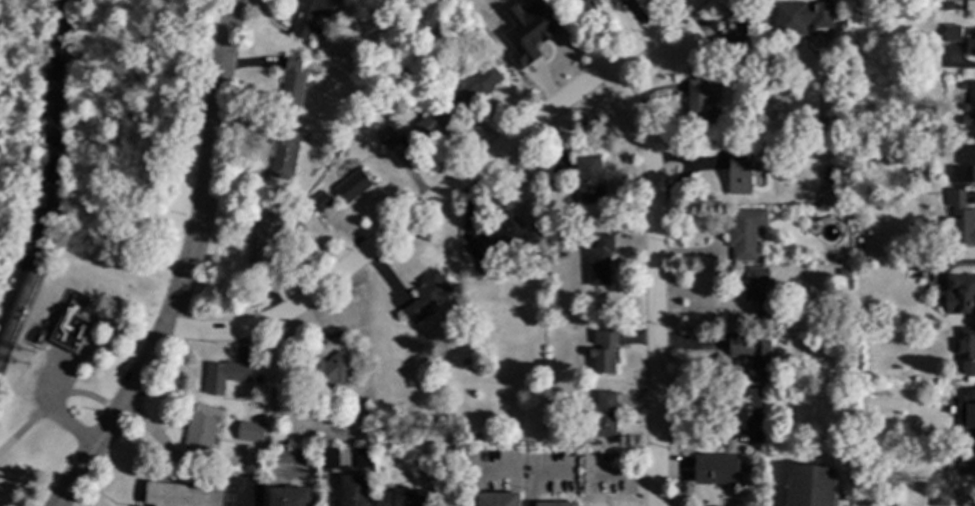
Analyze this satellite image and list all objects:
building: (452, 0)
building: (968, 0)
building: (583, 5)
building: (308, 18)
building: (801, 18)
building: (950, 33)
building: (735, 36)
building: (533, 40)
building: (970, 43)
building: (773, 81)
building: (291, 82)
building: (473, 85)
building: (701, 100)
building: (969, 107)
building: (432, 122)
building: (387, 134)
building: (282, 153)
building: (964, 168)
building: (828, 173)
building: (738, 174)
building: (588, 179)
building: (352, 186)
road: (440, 192)
building: (321, 201)
park: (88, 211)
road: (202, 211)
building: (959, 220)
building: (560, 231)
building: (743, 233)
building: (505, 234)
building: (262, 238)
building: (478, 258)
building: (838, 259)
building: (599, 260)
building: (841, 273)
road: (655, 280)
building: (963, 292)
building: (757, 293)
building: (424, 295)
building: (870, 312)
building: (68, 330)
building: (602, 351)
building: (965, 351)
building: (750, 352)
building: (463, 363)
building: (330, 370)
building: (222, 375)
building: (843, 381)
building: (326, 399)
road: (55, 400)
building: (745, 408)
road: (56, 413)
building: (602, 414)
building: (966, 415)
building: (434, 419)
building: (201, 432)
building: (248, 432)
building: (473, 436)
building: (572, 454)
road: (88, 455)
building: (295, 455)
building: (327, 458)
building: (362, 458)
building: (967, 463)
building: (714, 469)
road: (539, 481)
road: (628, 482)
building: (809, 487)
building: (353, 491)
building: (184, 493)
building: (288, 497)
building: (404, 498)
building: (496, 499)
building: (939, 499)
building: (555, 504)

